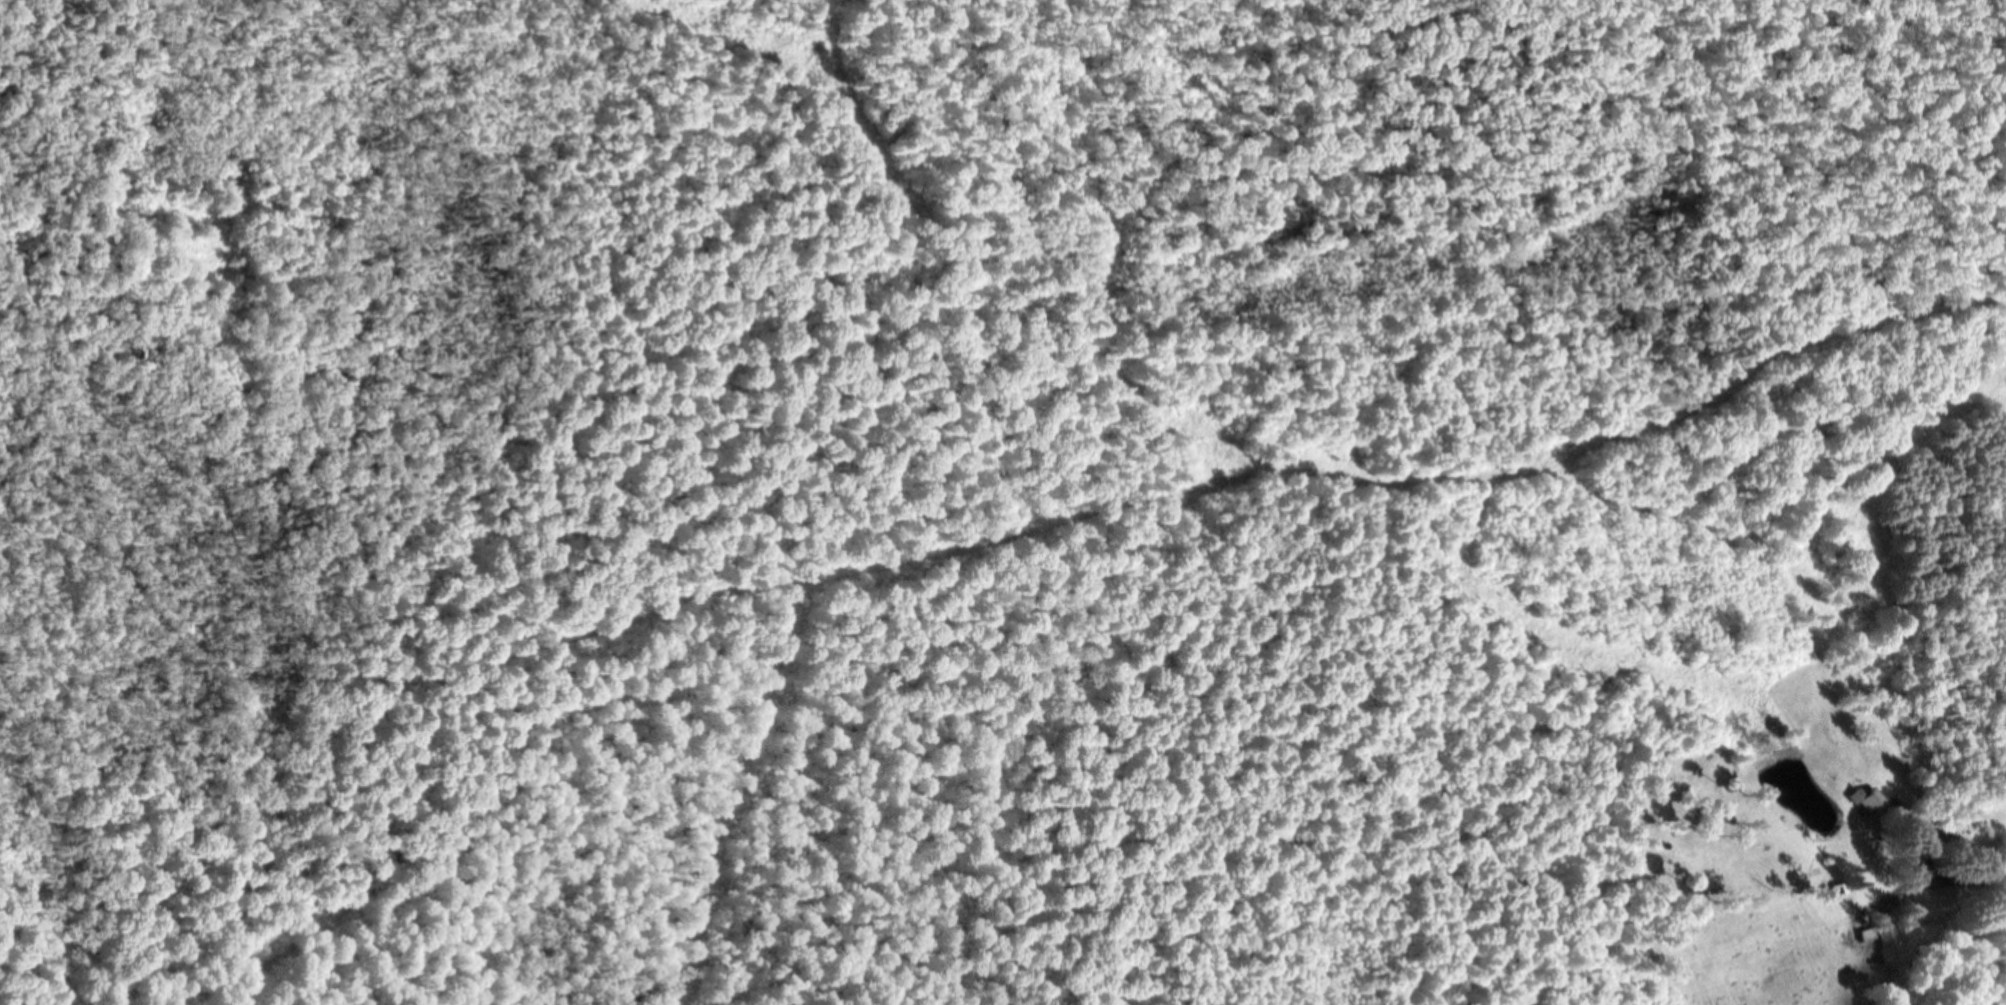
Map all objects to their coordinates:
building: (1870, 804)
building: (1938, 906)
building: (1890, 933)

